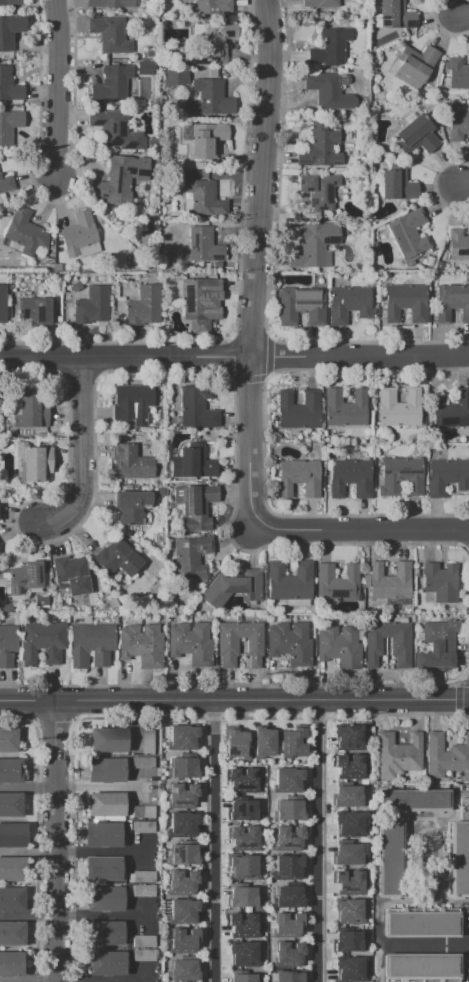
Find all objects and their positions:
building: (320, 3)
building: (10, 4)
building: (110, 4)
building: (182, 6)
building: (214, 6)
building: (396, 15)
road: (463, 15)
building: (10, 31)
building: (110, 34)
building: (211, 45)
building: (330, 48)
building: (415, 66)
building: (145, 68)
building: (457, 74)
building: (173, 77)
building: (112, 85)
building: (9, 87)
road: (58, 88)
building: (324, 90)
building: (468, 91)
building: (209, 99)
building: (458, 125)
building: (9, 126)
building: (114, 132)
building: (418, 136)
building: (207, 140)
building: (319, 148)
building: (121, 180)
building: (6, 183)
building: (397, 184)
road: (465, 187)
building: (318, 189)
building: (205, 198)
building: (24, 233)
building: (78, 233)
building: (408, 233)
building: (204, 245)
building: (314, 245)
building: (457, 245)
road: (256, 261)
building: (201, 300)
building: (406, 302)
building: (349, 303)
building: (452, 303)
building: (2, 305)
building: (301, 305)
building: (92, 306)
building: (144, 307)
building: (35, 310)
road: (234, 357)
building: (134, 403)
building: (197, 408)
building: (345, 408)
building: (400, 408)
building: (32, 409)
building: (299, 410)
building: (451, 412)
road: (81, 453)
building: (34, 461)
building: (131, 463)
building: (193, 463)
building: (401, 476)
building: (447, 476)
building: (299, 478)
building: (351, 478)
building: (133, 505)
building: (195, 506)
road: (361, 529)
building: (191, 557)
building: (117, 558)
building: (71, 574)
building: (25, 577)
building: (289, 581)
building: (389, 581)
building: (441, 581)
building: (337, 583)
building: (234, 588)
building: (40, 601)
building: (179, 640)
building: (278, 640)
building: (31, 641)
building: (54, 642)
building: (82, 642)
building: (129, 642)
building: (253, 642)
building: (374, 642)
building: (228, 643)
building: (399, 643)
building: (104, 644)
building: (327, 644)
building: (7, 645)
building: (438, 645)
building: (200, 646)
building: (299, 647)
building: (151, 648)
building: (348, 650)
road: (234, 701)
building: (347, 736)
building: (181, 737)
building: (8, 740)
building: (108, 740)
building: (147, 741)
building: (264, 742)
building: (237, 743)
building: (293, 743)
building: (397, 755)
building: (446, 755)
building: (142, 761)
building: (348, 766)
building: (183, 767)
building: (10, 770)
building: (106, 771)
building: (242, 780)
building: (287, 780)
road: (30, 787)
road: (101, 787)
building: (182, 795)
building: (348, 796)
building: (413, 801)
building: (10, 804)
building: (105, 804)
building: (464, 809)
building: (287, 810)
building: (243, 811)
building: (143, 812)
building: (181, 824)
building: (349, 824)
building: (143, 827)
building: (12, 834)
building: (102, 835)
building: (243, 837)
building: (288, 838)
road: (60, 841)
road: (220, 841)
road: (318, 841)
road: (30, 851)
road: (100, 852)
building: (348, 854)
building: (183, 855)
building: (390, 859)
building: (457, 859)
building: (242, 865)
building: (287, 866)
building: (13, 868)
building: (102, 869)
building: (143, 877)
building: (349, 881)
building: (182, 882)
building: (142, 891)
building: (288, 896)
building: (243, 897)
road: (161, 898)
building: (11, 899)
building: (105, 899)
building: (349, 910)
building: (182, 911)
road: (64, 917)
building: (421, 923)
building: (287, 924)
building: (242, 926)
building: (12, 933)
building: (104, 933)
building: (143, 941)
building: (183, 941)
building: (347, 941)
road: (429, 947)
building: (289, 952)
building: (244, 954)
building: (143, 956)
building: (107, 962)
road: (146, 963)
building: (10, 964)
building: (422, 967)
building: (349, 968)
building: (183, 970)
building: (290, 976)
building: (243, 978)
road: (95, 981)

